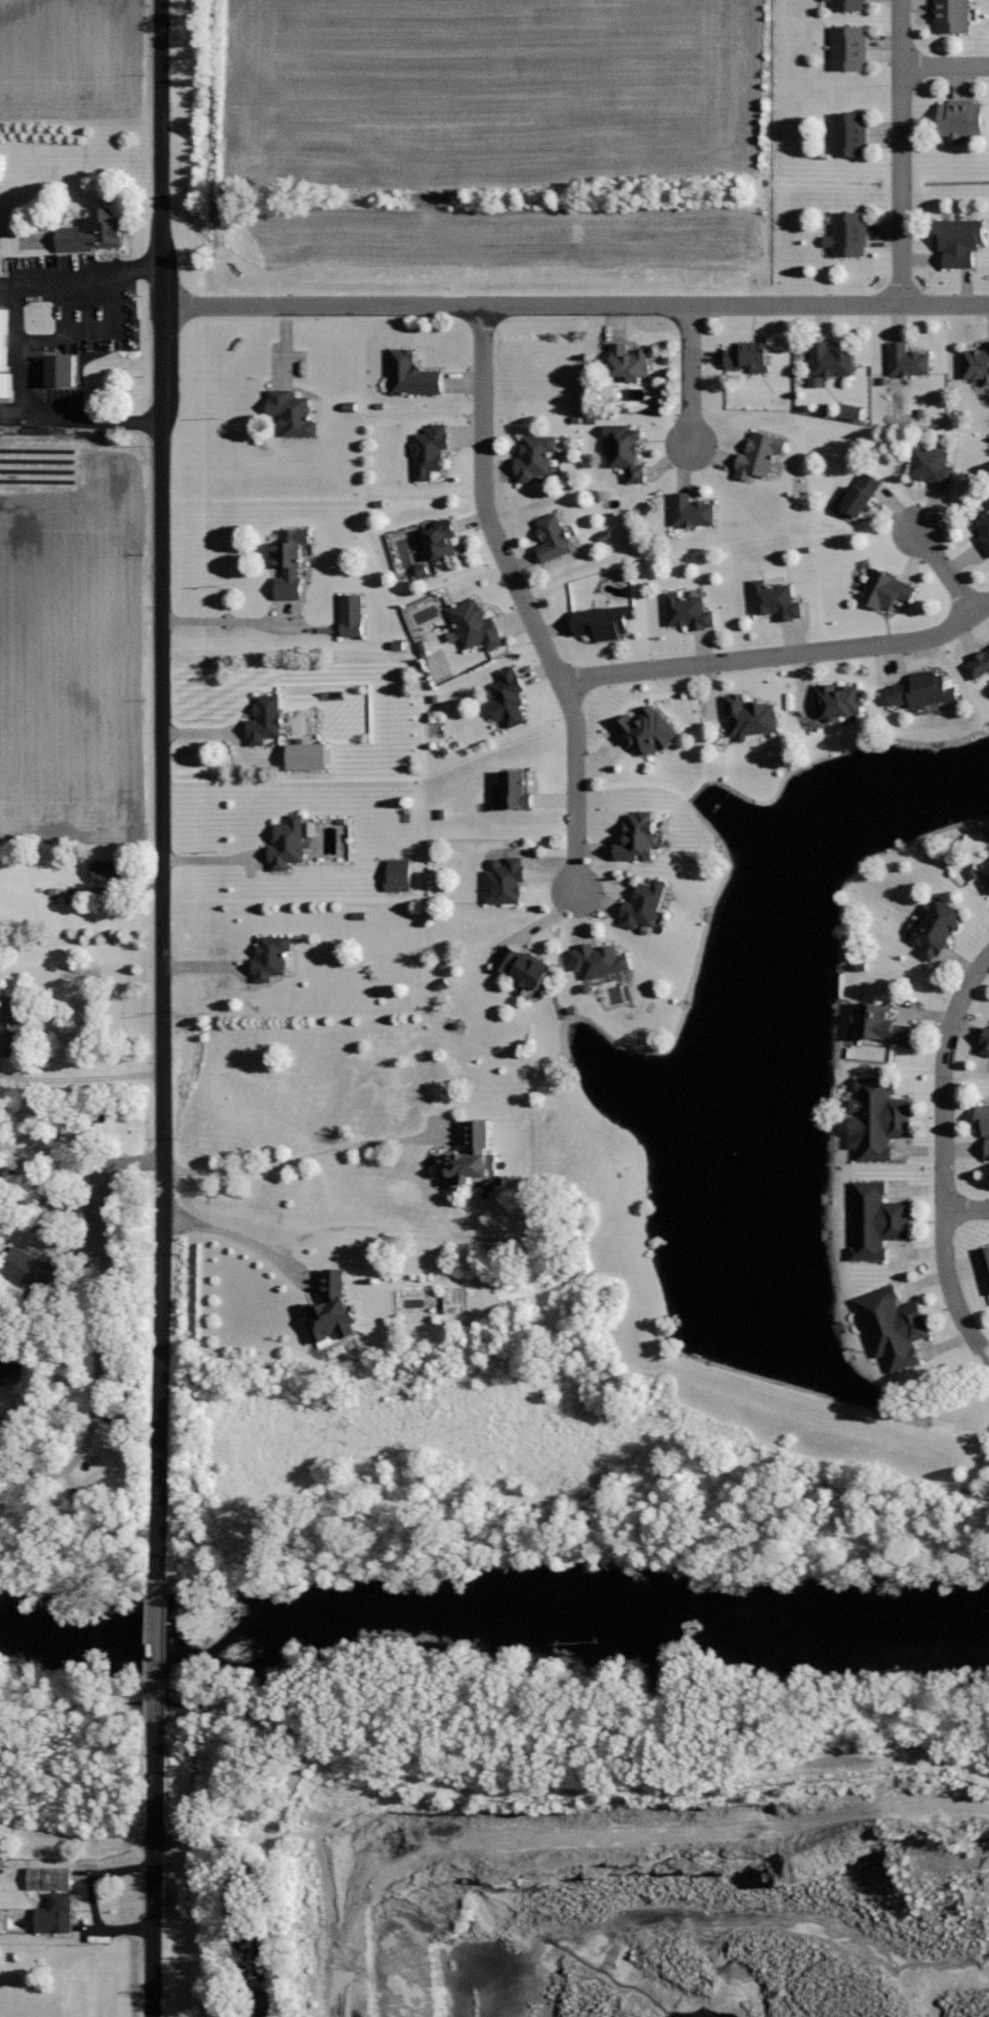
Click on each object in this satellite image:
building: (848, 4)
building: (951, 15)
building: (849, 47)
road: (946, 67)
building: (959, 118)
building: (849, 133)
road: (902, 152)
road: (160, 153)
building: (848, 232)
building: (94, 233)
building: (958, 239)
road: (10, 285)
road: (575, 305)
building: (4, 340)
road: (19, 345)
building: (748, 355)
building: (831, 359)
building: (907, 359)
building: (627, 361)
building: (977, 362)
building: (63, 372)
building: (413, 374)
road: (691, 375)
building: (6, 386)
road: (15, 412)
building: (293, 413)
building: (852, 413)
building: (431, 449)
building: (625, 449)
building: (758, 455)
building: (535, 456)
building: (930, 464)
building: (862, 493)
building: (988, 500)
road: (487, 503)
building: (692, 510)
building: (983, 528)
building: (442, 536)
building: (553, 536)
building: (291, 560)
road: (944, 571)
building: (885, 589)
building: (775, 599)
building: (689, 611)
building: (353, 616)
road: (225, 619)
building: (604, 620)
building: (475, 624)
road: (780, 655)
building: (979, 663)
building: (923, 689)
building: (508, 695)
building: (839, 700)
building: (750, 716)
building: (265, 718)
building: (647, 729)
building: (309, 756)
road: (163, 767)
building: (517, 788)
road: (575, 788)
building: (639, 834)
building: (289, 840)
building: (107, 871)
building: (984, 872)
building: (400, 874)
building: (504, 879)
building: (644, 903)
building: (936, 928)
building: (272, 955)
building: (598, 958)
building: (523, 966)
building: (880, 1023)
building: (11, 1025)
building: (985, 1041)
road: (946, 1076)
building: (878, 1117)
building: (983, 1122)
road: (309, 1155)
building: (471, 1156)
road: (971, 1209)
building: (876, 1220)
road: (233, 1236)
building: (985, 1262)
building: (30, 1270)
road: (949, 1279)
building: (331, 1310)
building: (891, 1326)
road: (161, 1403)
river: (492, 1633)
road: (157, 1650)
road: (74, 1710)
road: (562, 1798)
quarry: (566, 1825)
road: (241, 1843)
road: (154, 1869)
building: (50, 1879)
building: (57, 1915)
road: (335, 1928)

